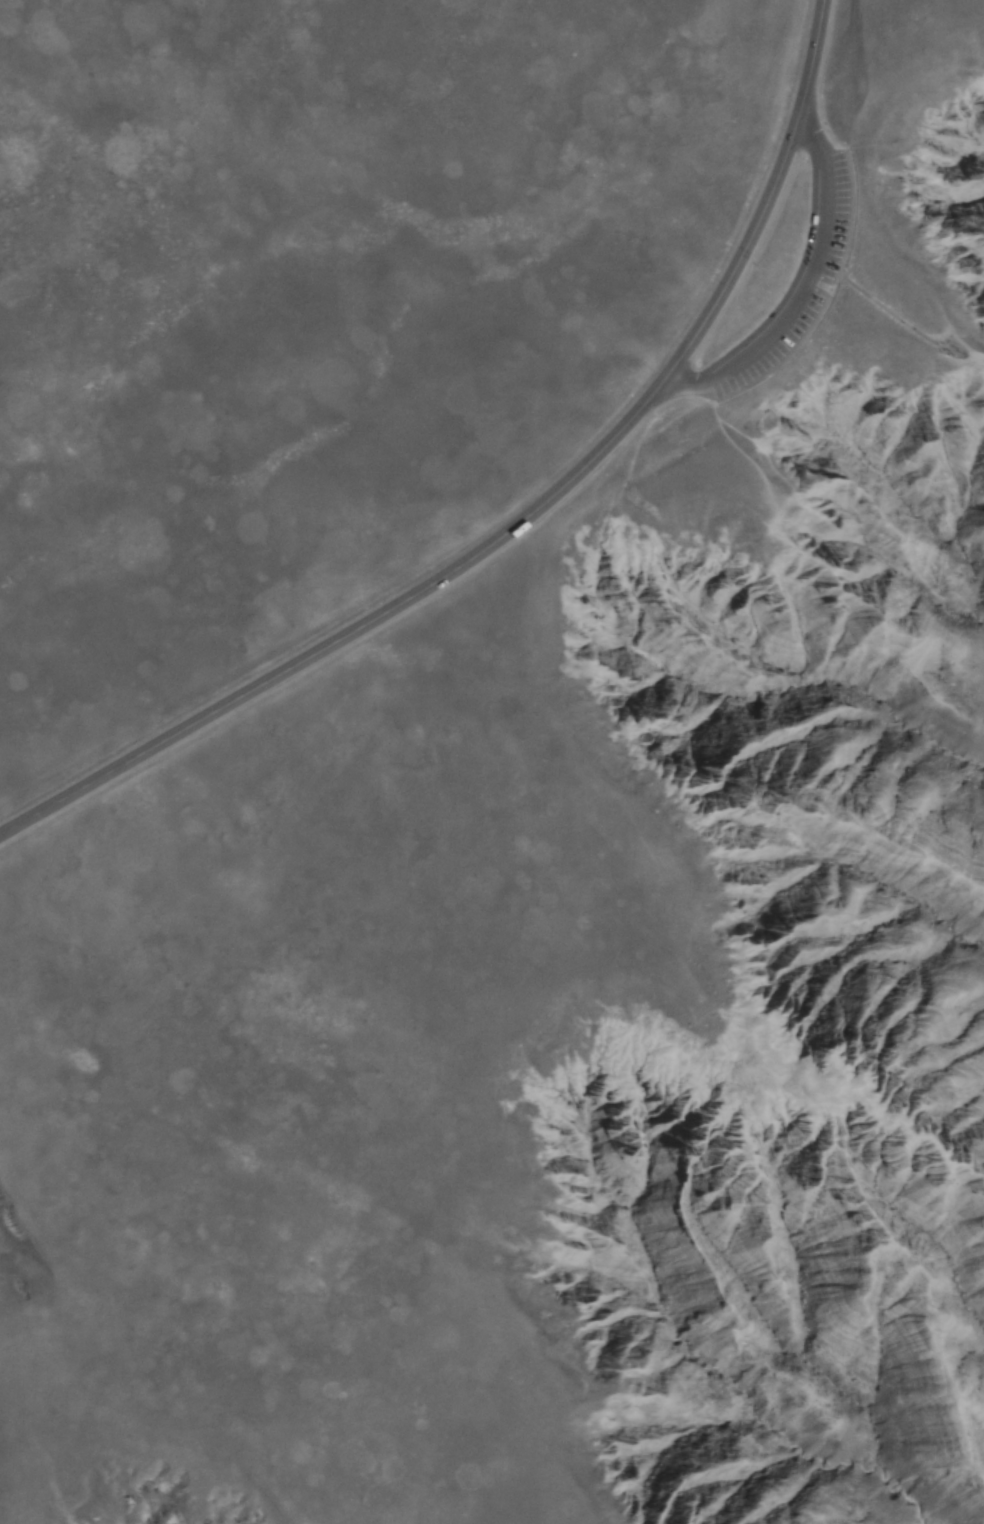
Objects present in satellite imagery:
road: (809, 122)
road: (800, 276)
parking lot: (797, 280)
road: (907, 285)
road: (871, 293)
road: (682, 386)
road: (522, 516)

